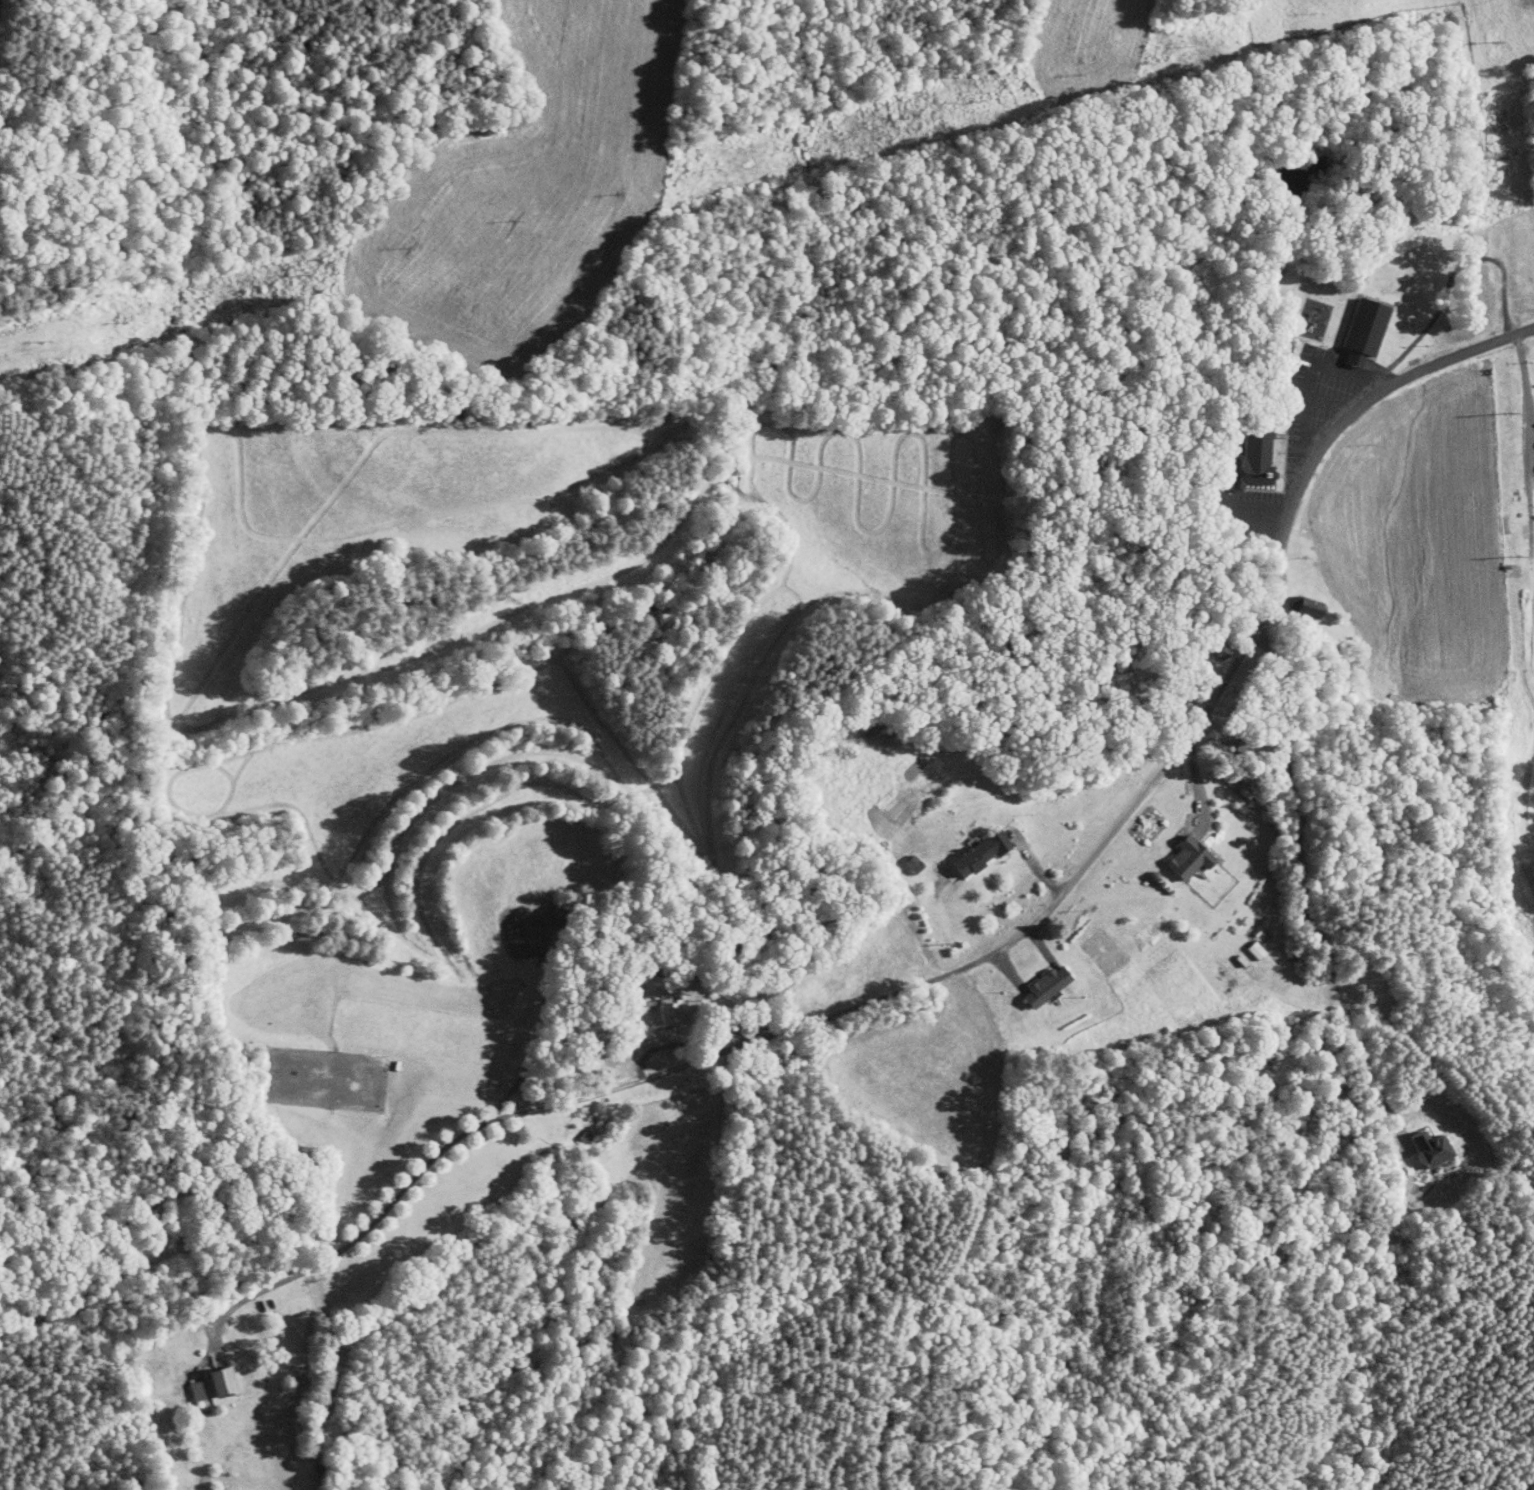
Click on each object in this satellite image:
building: (1362, 327)
road: (1515, 401)
building: (1251, 460)
building: (1296, 601)
building: (967, 848)
building: (1175, 852)
building: (1242, 943)
road: (979, 961)
building: (1033, 980)
building: (657, 1005)
building: (1418, 1141)
building: (200, 1378)

